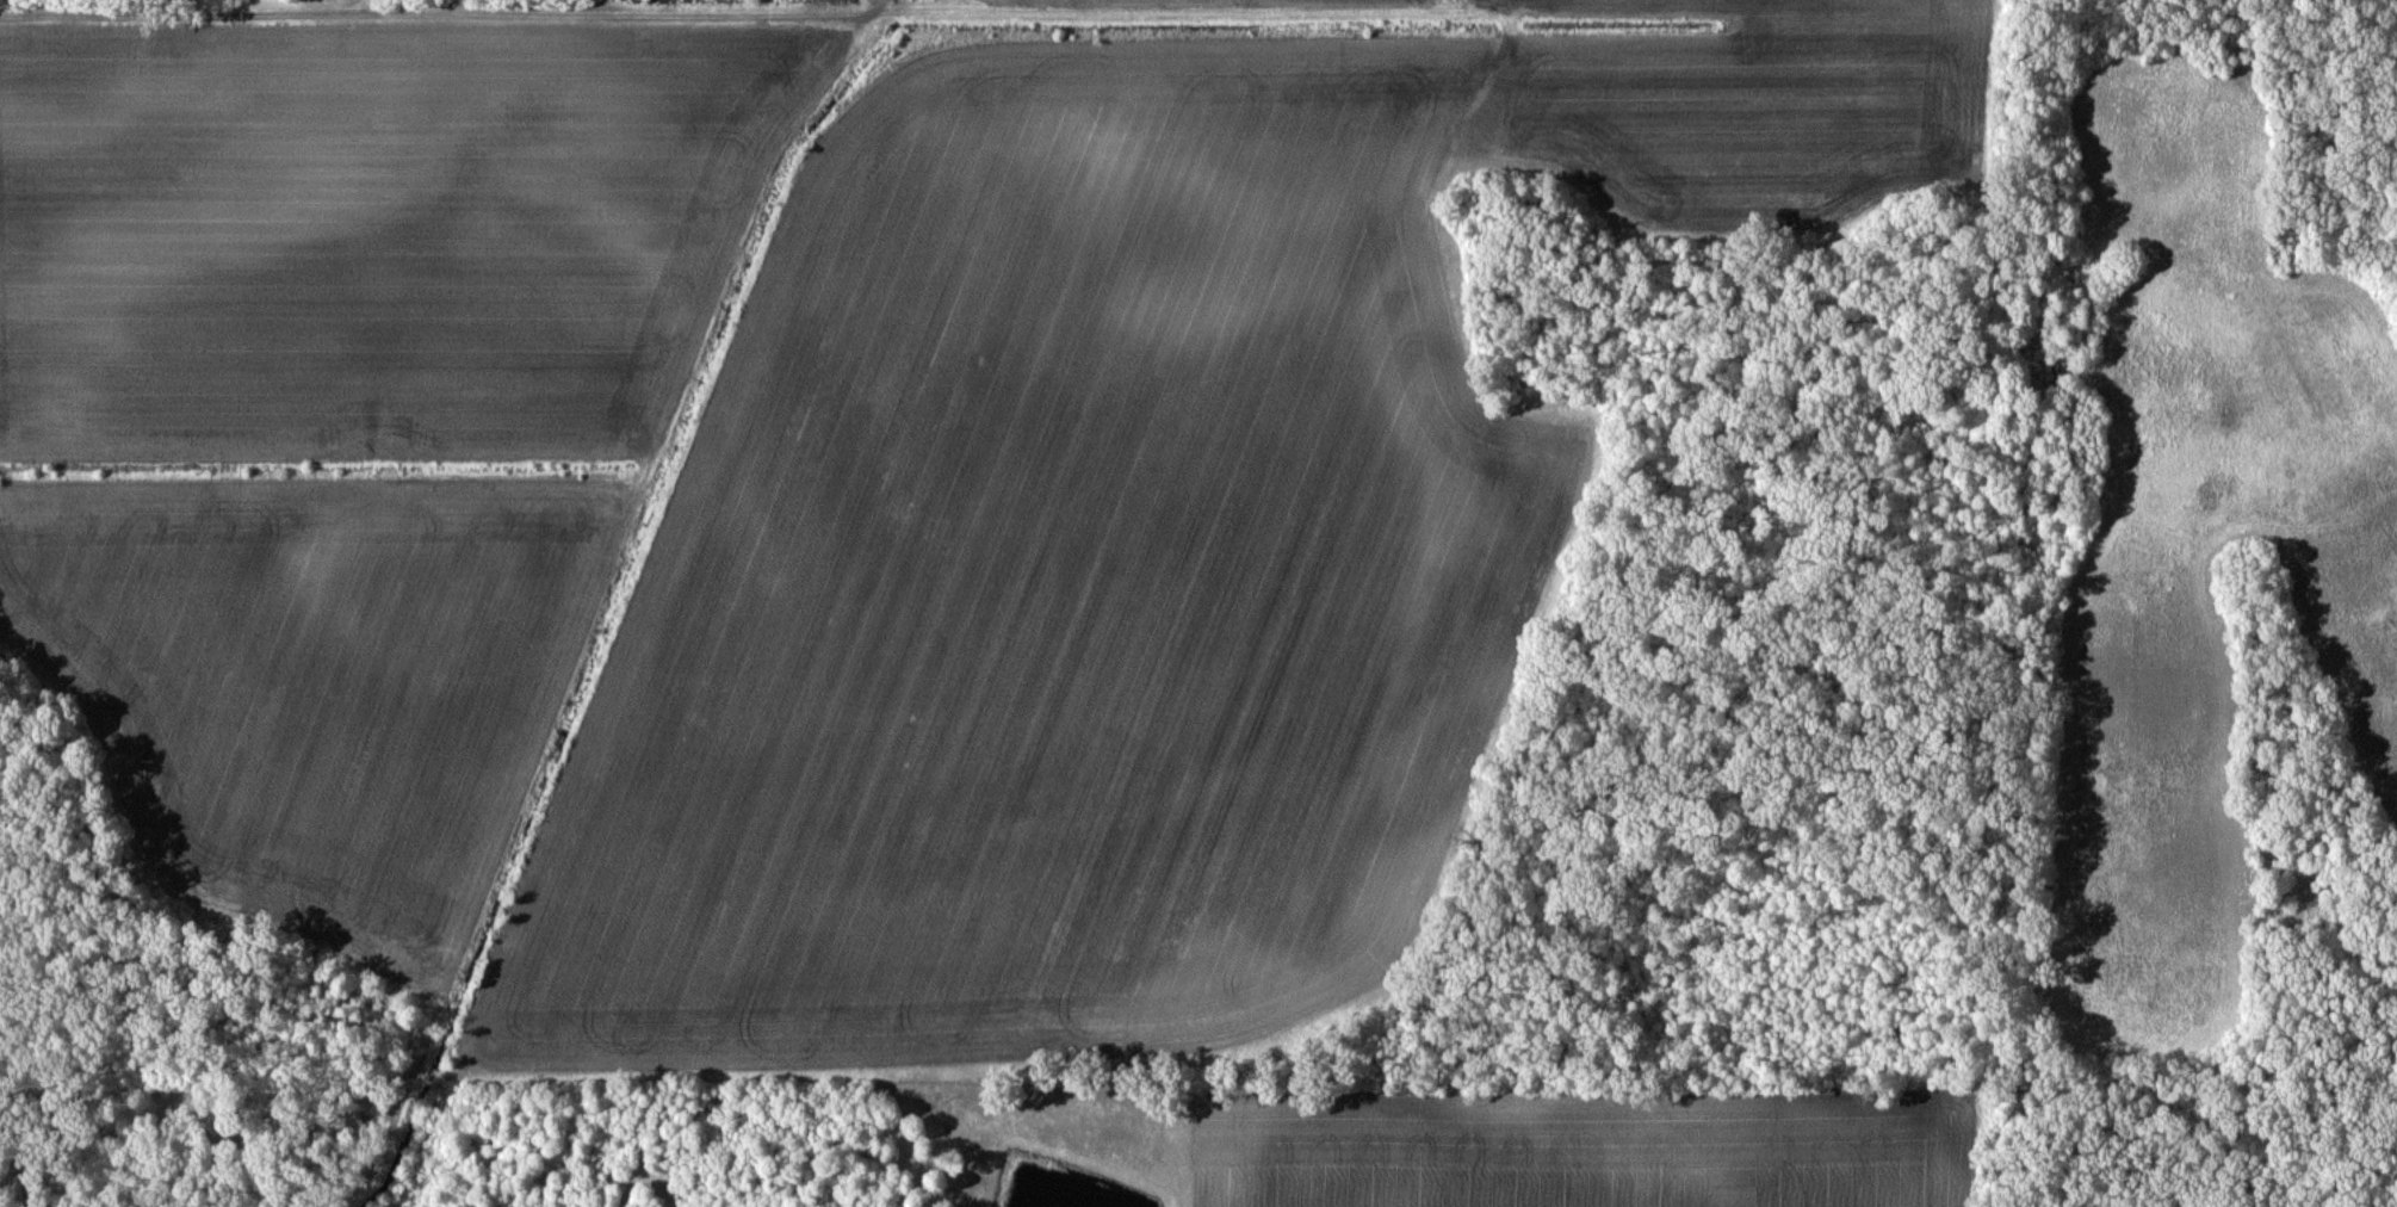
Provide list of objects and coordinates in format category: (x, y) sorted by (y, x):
road: (444, 8)

